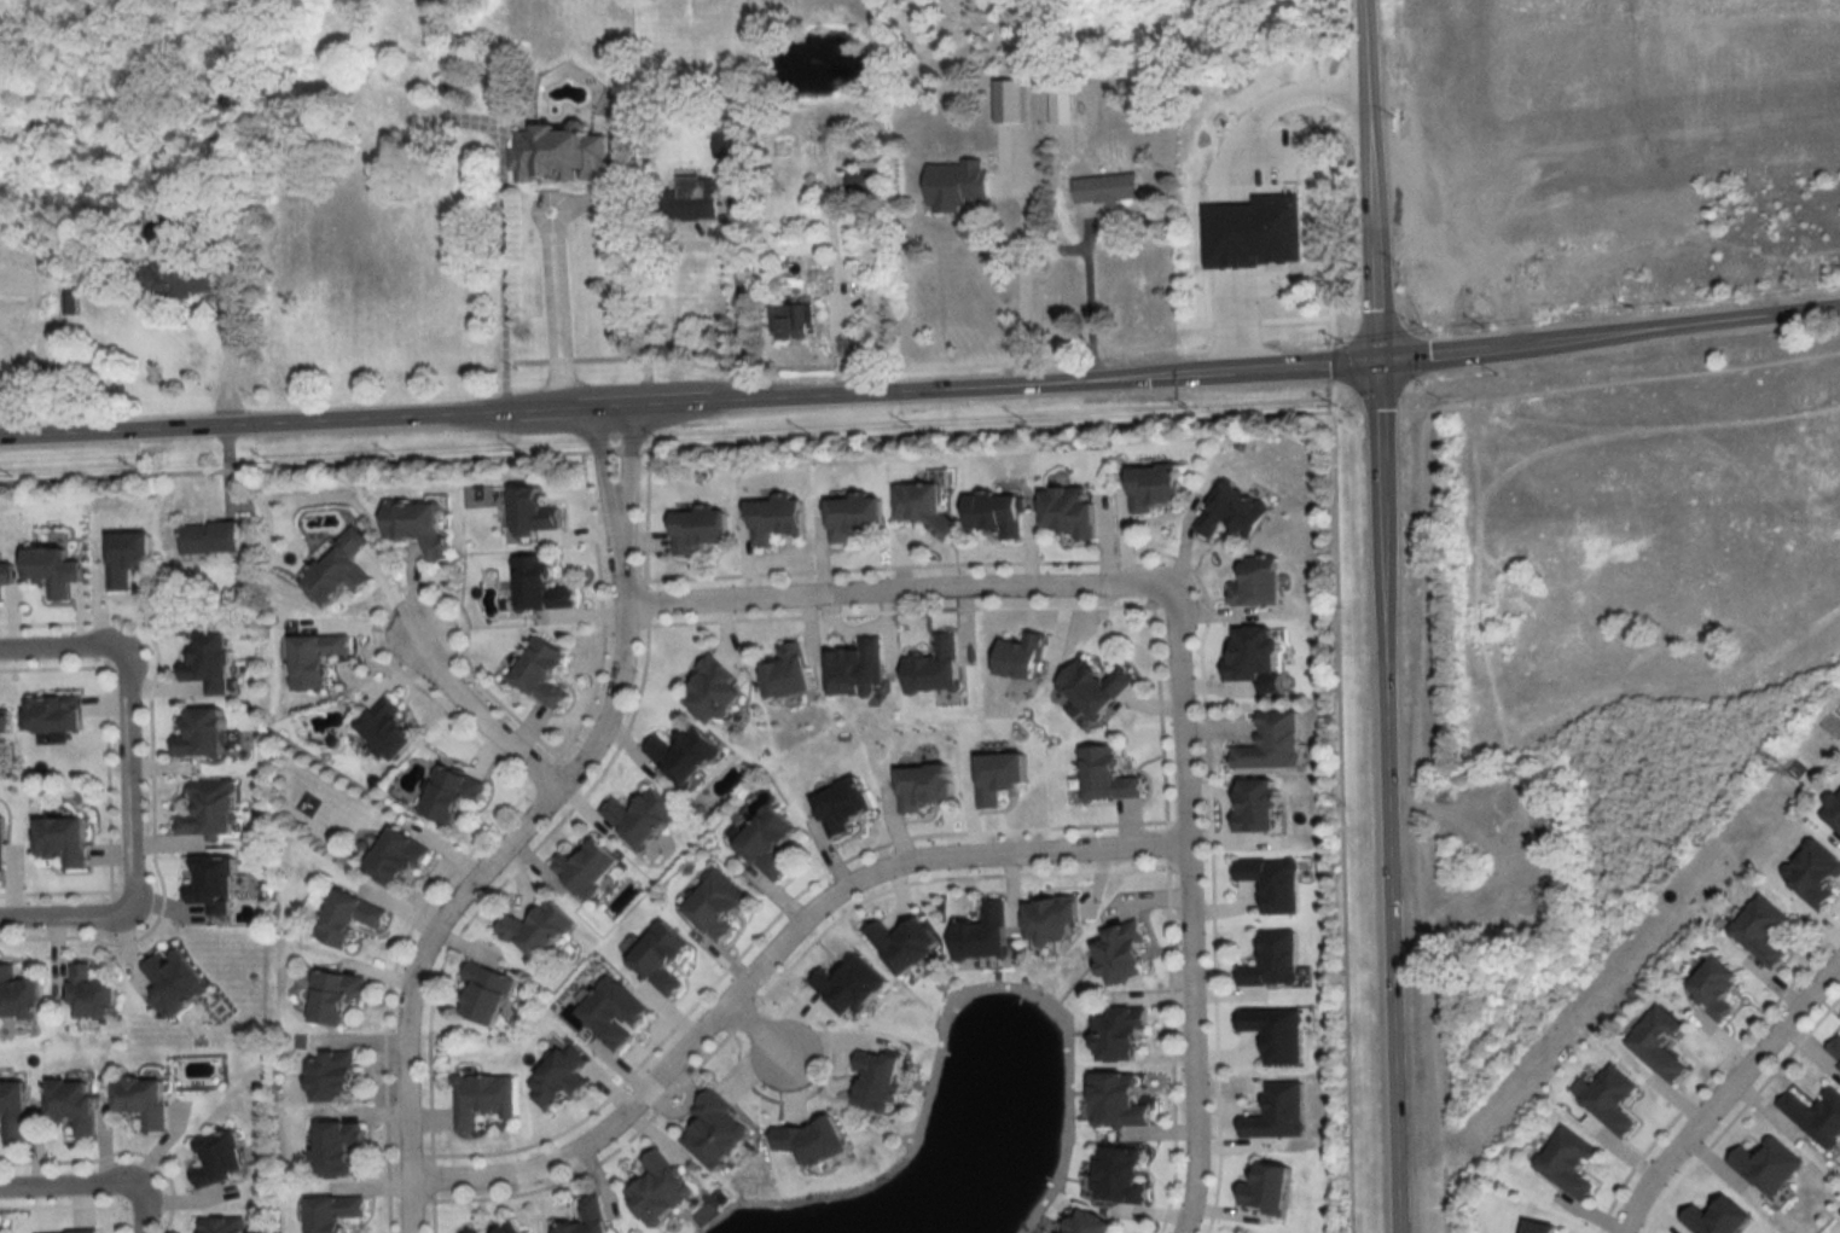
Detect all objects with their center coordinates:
road: (1275, 101)
building: (1213, 120)
building: (730, 145)
building: (561, 155)
building: (864, 180)
building: (1109, 188)
building: (1201, 193)
building: (692, 198)
building: (1253, 222)
road: (690, 242)
building: (179, 274)
road: (1023, 278)
road: (1096, 310)
road: (563, 312)
road: (1238, 318)
building: (790, 322)
road: (227, 356)
road: (921, 391)
building: (1159, 487)
building: (925, 506)
building: (1072, 511)
building: (1235, 512)
building: (999, 514)
building: (855, 517)
building: (777, 520)
road: (619, 523)
building: (418, 524)
building: (698, 530)
building: (210, 537)
building: (128, 558)
building: (56, 570)
building: (338, 571)
building: (6, 576)
building: (540, 586)
building: (1260, 586)
road: (895, 593)
road: (1383, 616)
road: (59, 653)
building: (1256, 655)
building: (1025, 657)
building: (315, 659)
building: (211, 663)
building: (936, 668)
building: (858, 670)
building: (542, 673)
building: (789, 673)
building: (1097, 687)
building: (715, 692)
road: (470, 713)
building: (56, 715)
building: (6, 729)
building: (390, 731)
building: (204, 734)
building: (1272, 743)
building: (685, 756)
power tower: (1793, 769)
building: (1109, 775)
road: (128, 784)
building: (925, 789)
building: (452, 796)
building: (1259, 805)
building: (846, 807)
building: (210, 810)
building: (642, 819)
building: (768, 842)
building: (65, 843)
building: (1, 851)
building: (396, 859)
road: (486, 867)
building: (588, 868)
building: (216, 882)
building: (1275, 883)
building: (718, 906)
road: (1189, 915)
building: (348, 919)
road: (65, 921)
building: (1053, 921)
building: (1763, 931)
building: (538, 932)
building: (985, 935)
building: (905, 946)
building: (1125, 955)
building: (661, 958)
road: (771, 958)
building: (1275, 961)
building: (176, 983)
building: (852, 987)
building: (1717, 988)
building: (487, 994)
building: (94, 995)
building: (19, 996)
building: (335, 996)
building: (615, 1013)
building: (1277, 1034)
road: (758, 1035)
building: (1122, 1037)
building: (1659, 1043)
building: (1835, 1047)
building: (333, 1077)
building: (562, 1077)
building: (880, 1081)
road: (1726, 1094)
building: (144, 1099)
building: (483, 1099)
building: (1612, 1100)
building: (1116, 1101)
building: (74, 1103)
building: (13, 1109)
building: (1279, 1113)
building: (1817, 1116)
building: (715, 1130)
building: (811, 1141)
building: (338, 1146)
building: (221, 1158)
building: (1568, 1163)
building: (1121, 1175)
building: (660, 1191)
road: (66, 1192)
road: (144, 1212)
building: (335, 1212)
building: (590, 1217)
building: (1092, 1223)
building: (225, 1225)
building: (513, 1227)
building: (472, 1229)
building: (76, 1232)

